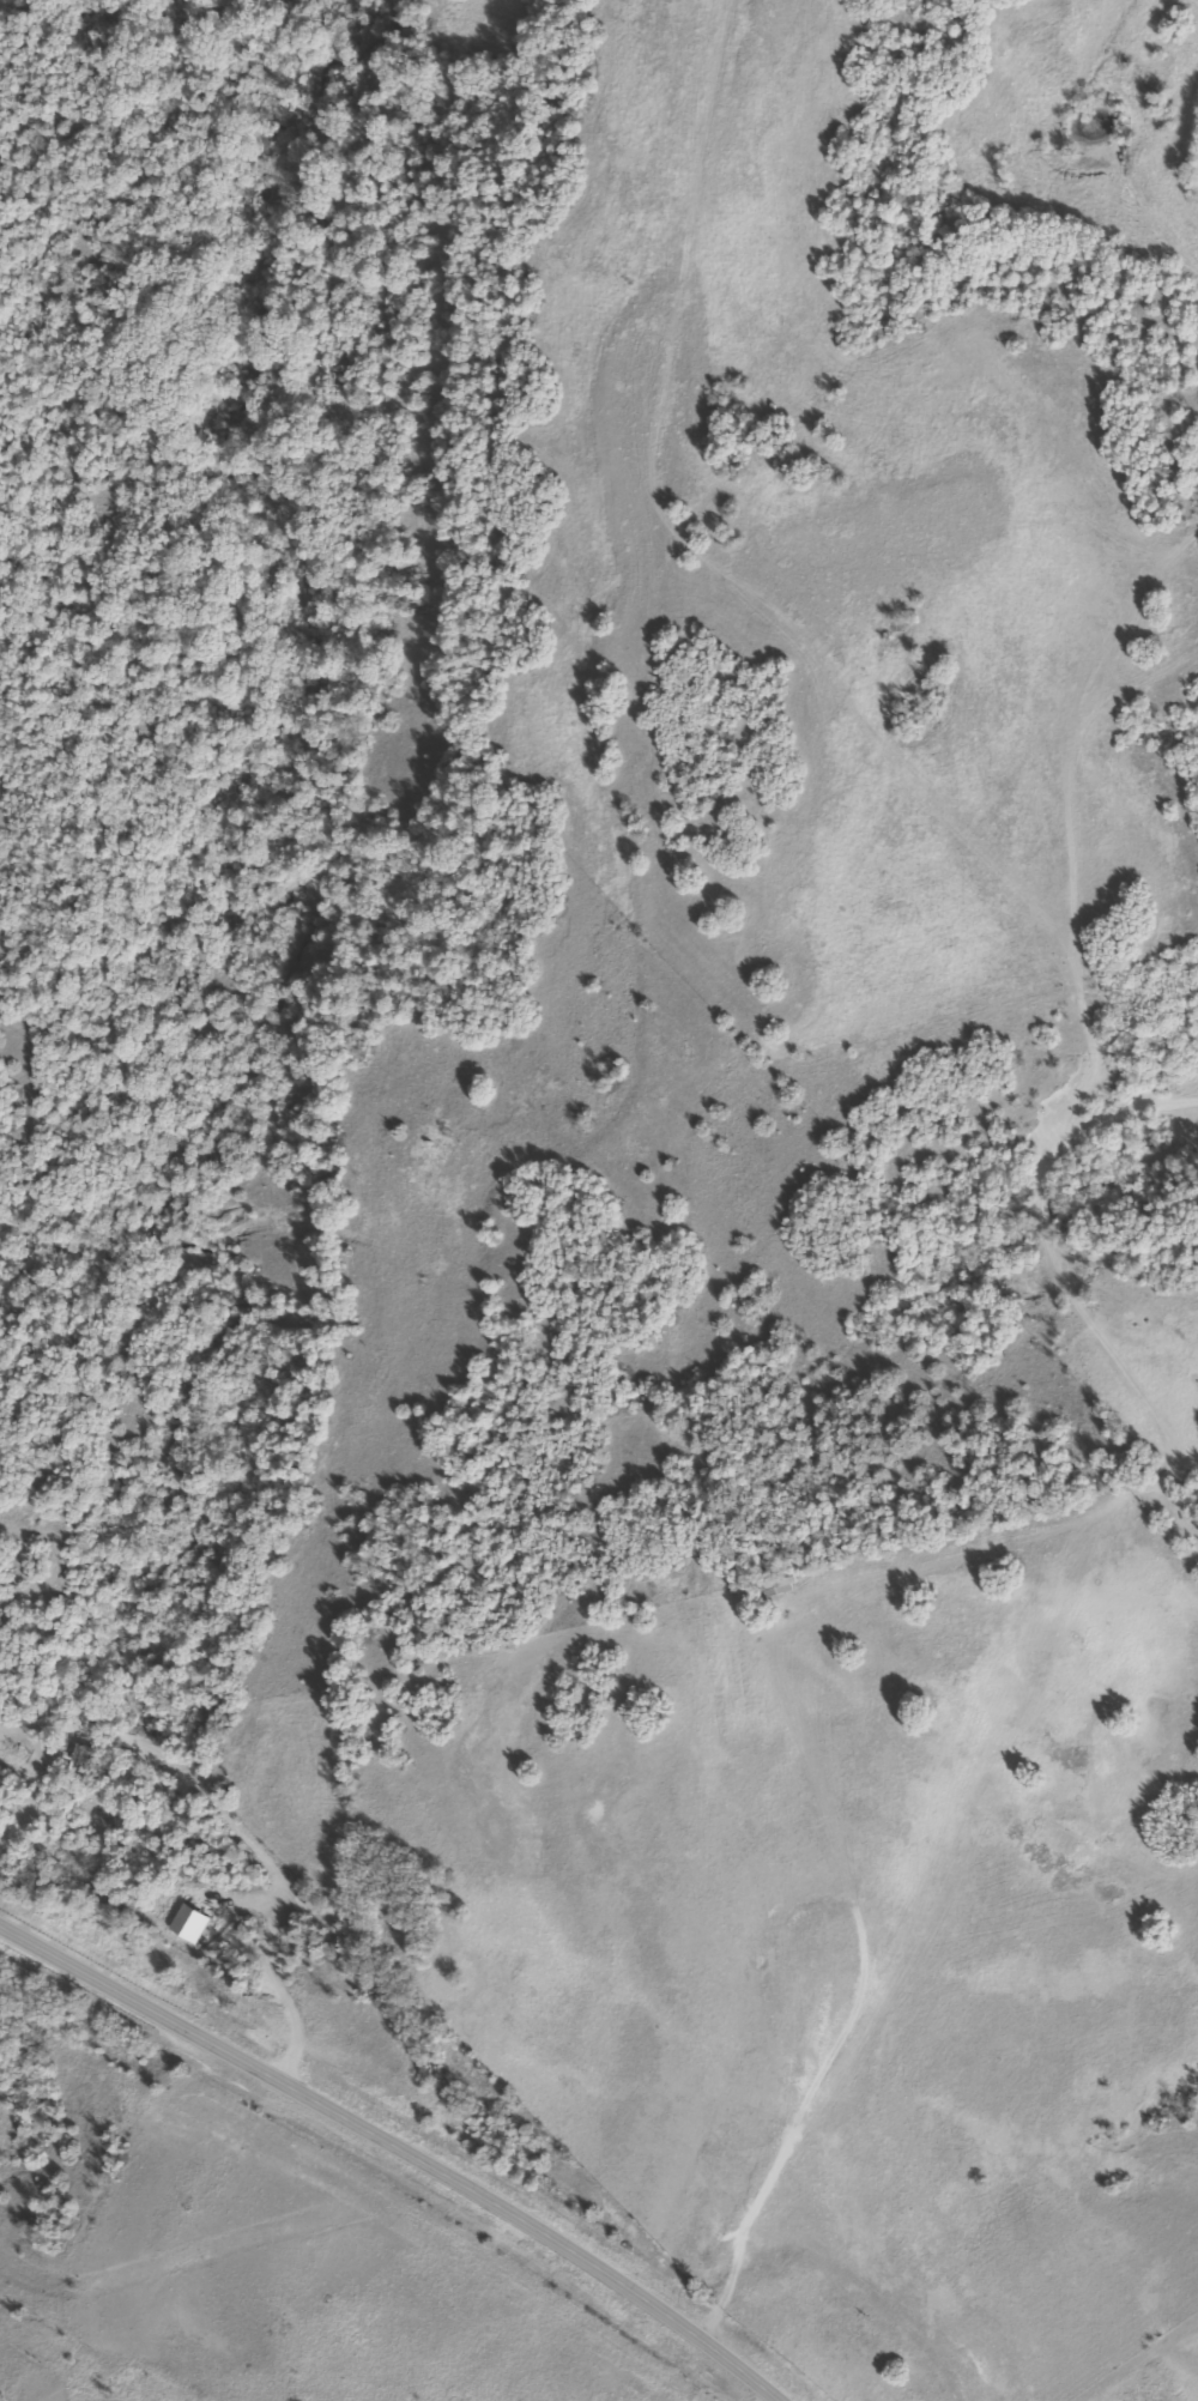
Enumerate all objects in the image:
road: (394, 2148)

